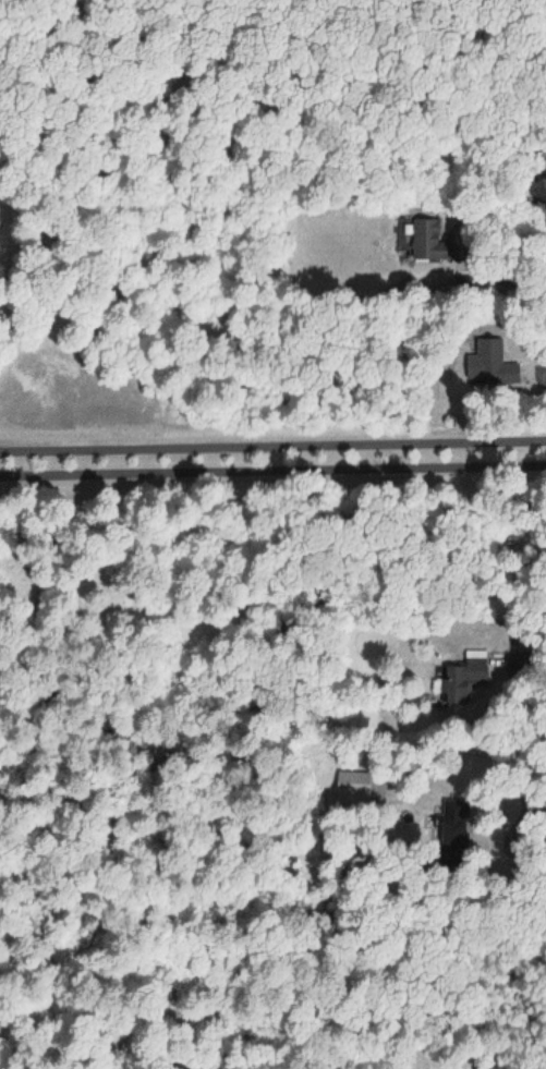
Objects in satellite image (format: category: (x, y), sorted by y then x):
building: (430, 242)
building: (493, 363)
road: (272, 445)
road: (272, 474)
building: (463, 677)
building: (361, 788)

